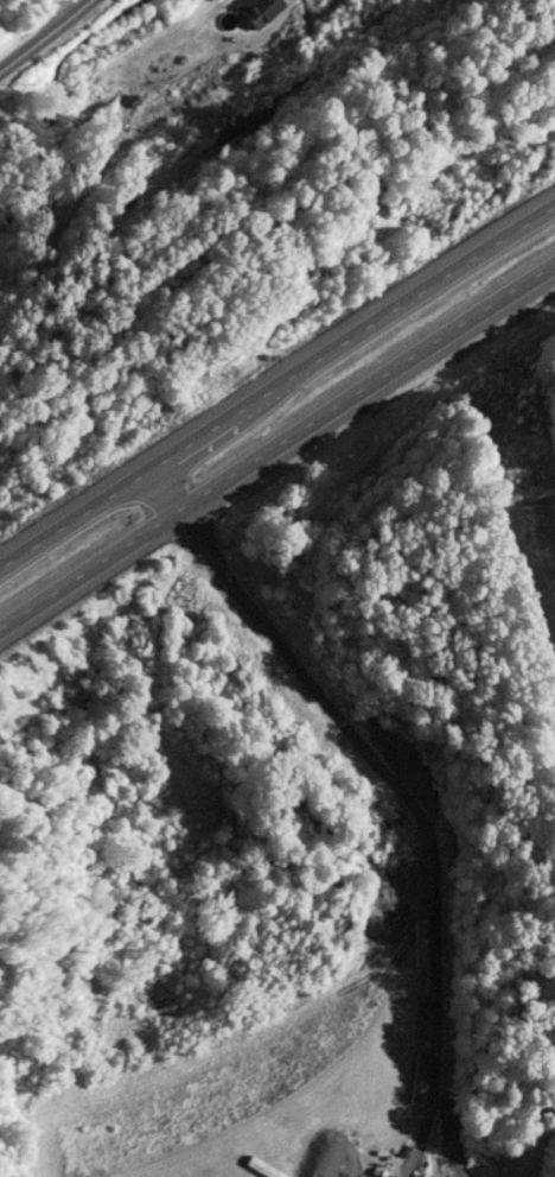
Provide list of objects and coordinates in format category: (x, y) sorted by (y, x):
building: (260, 11)
road: (45, 36)
road: (276, 385)
road: (275, 448)
power tower: (532, 494)
road: (396, 786)

